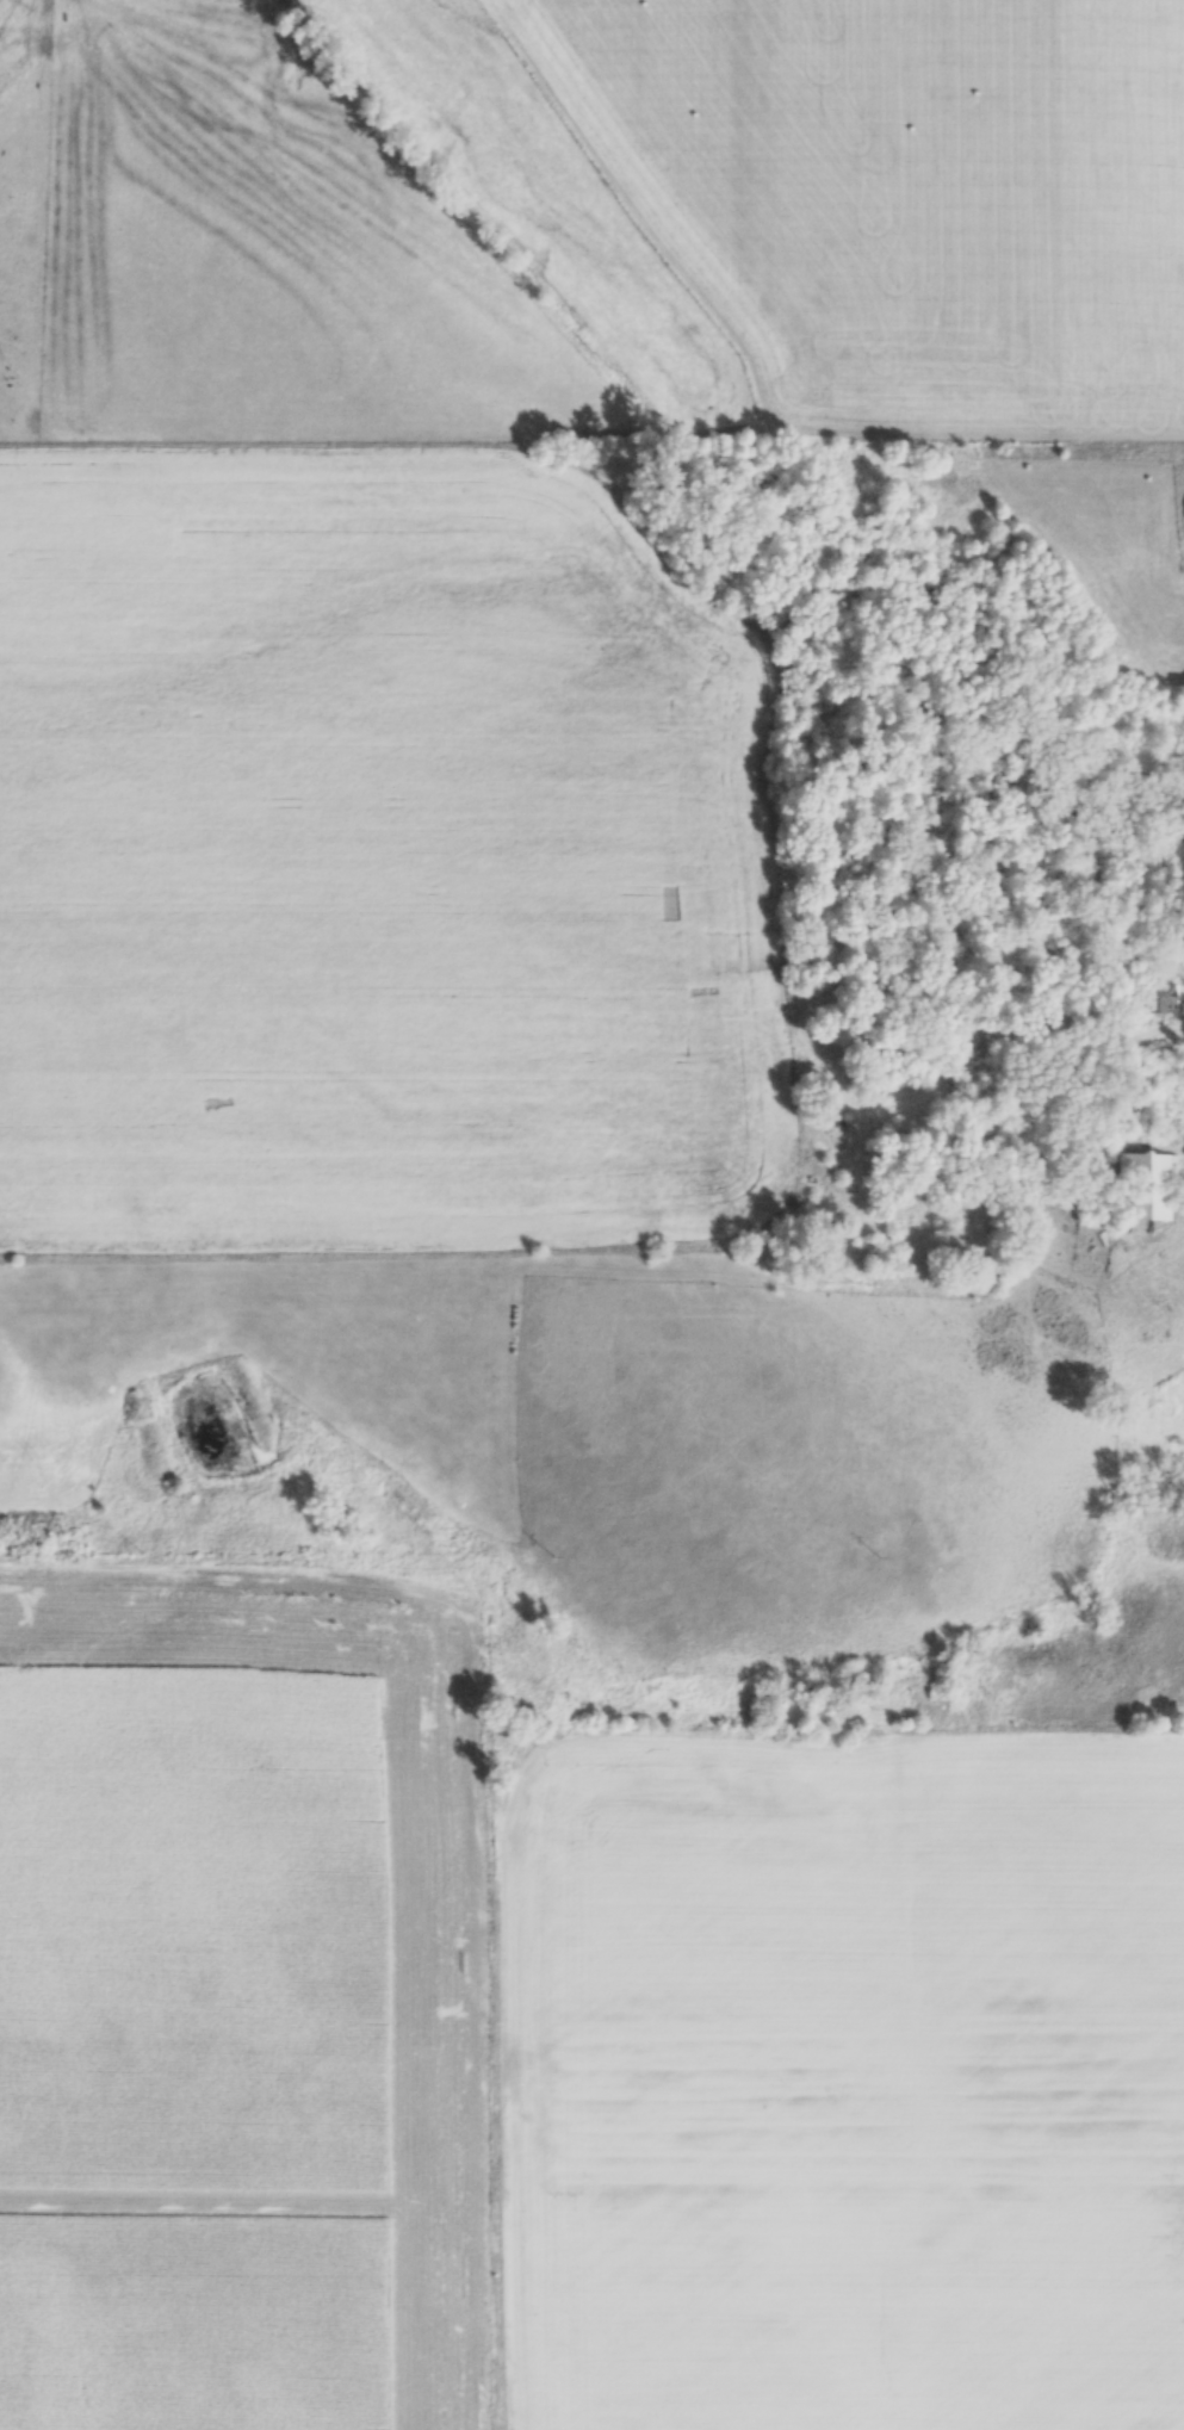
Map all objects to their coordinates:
building: (1155, 997)
building: (1142, 1184)

